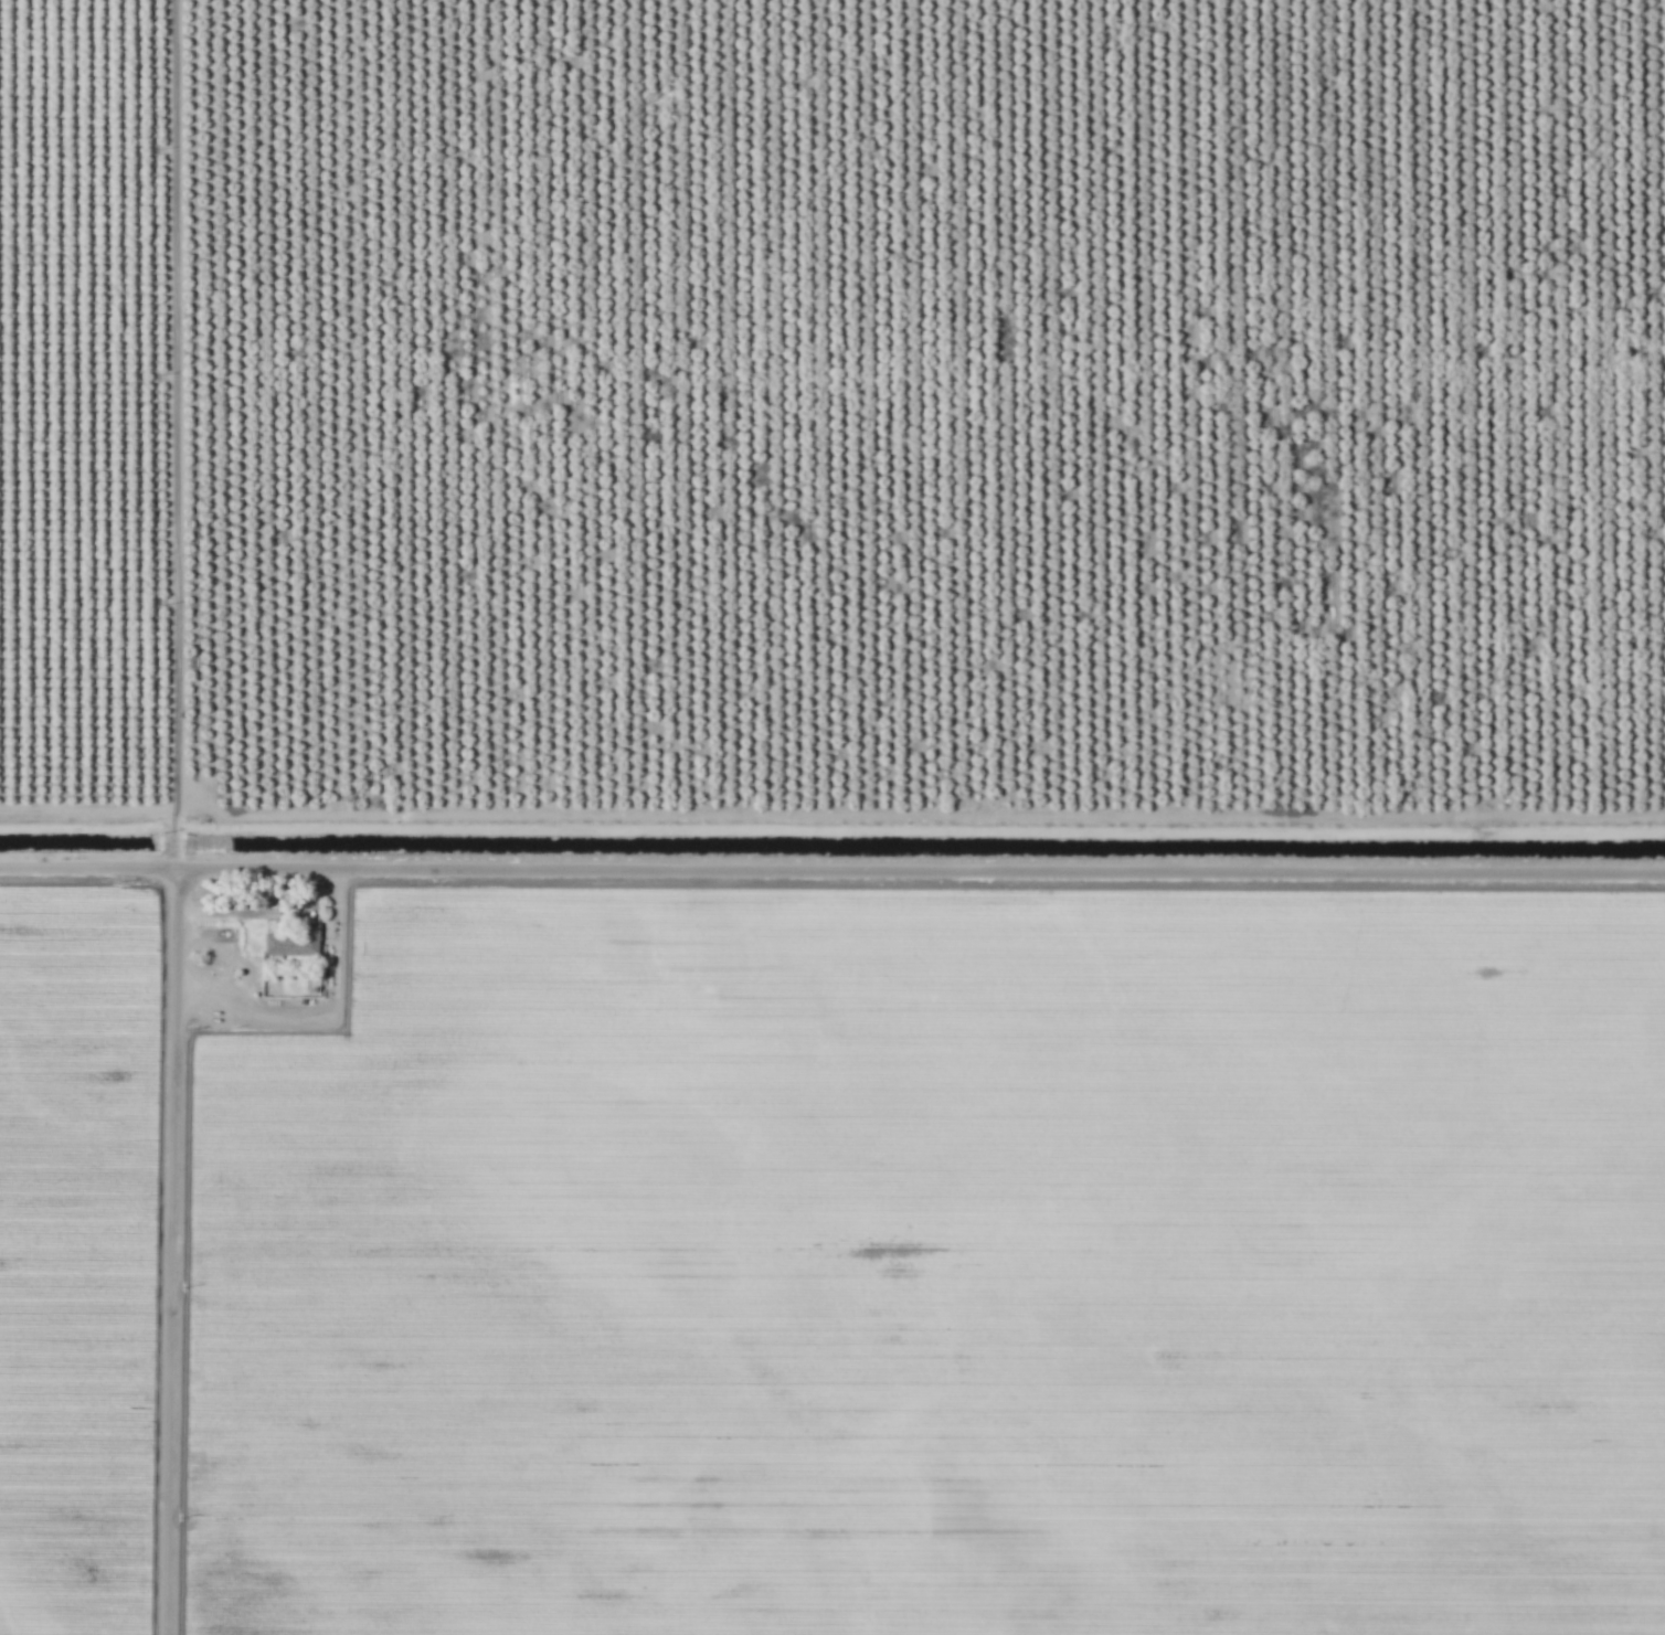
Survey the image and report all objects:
road: (180, 434)
road: (831, 871)
road: (172, 1252)
crop: (76, 1257)
crop: (937, 1267)

